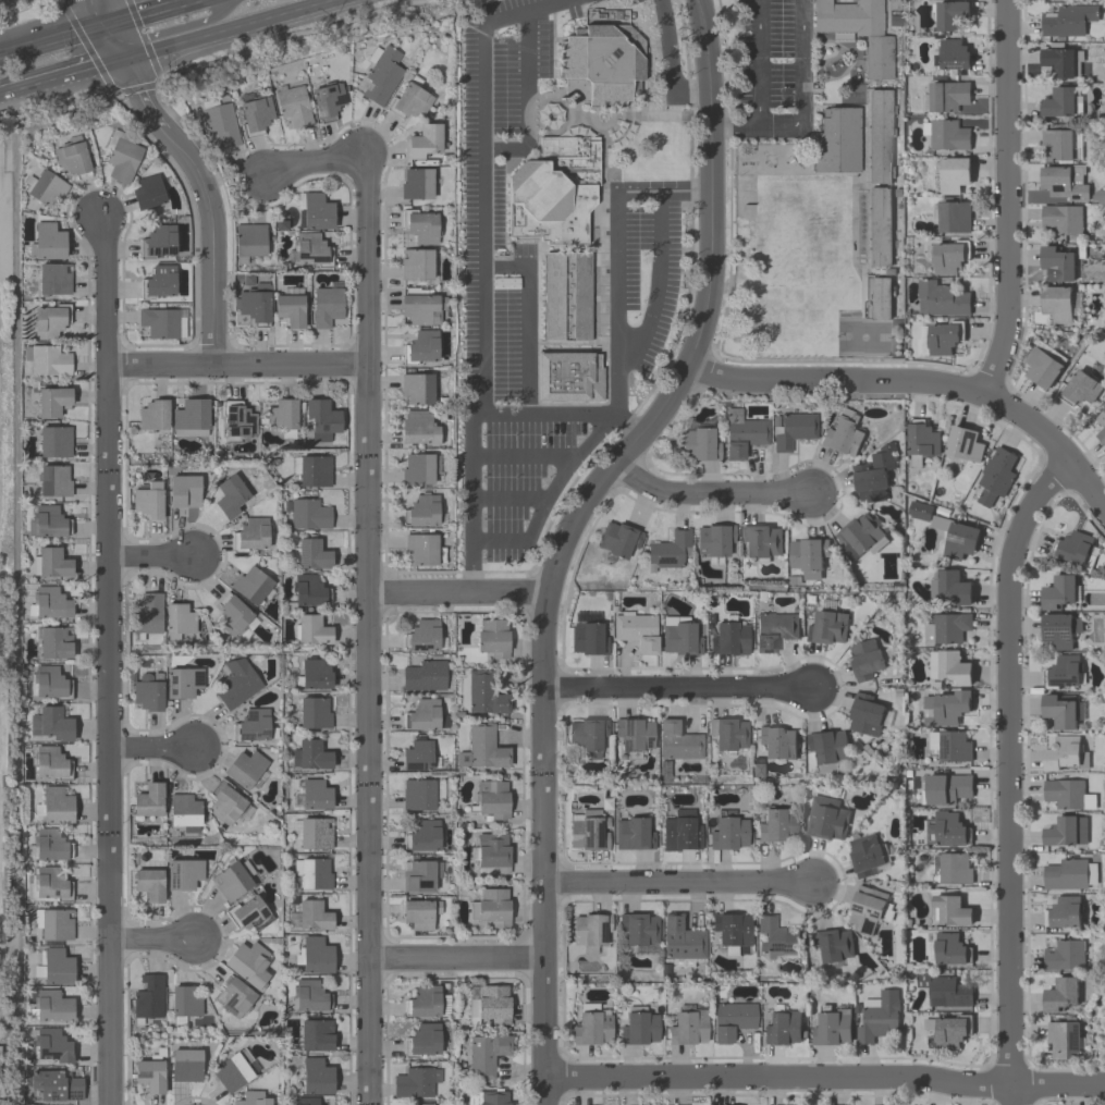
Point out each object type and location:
road: (93, 11)
road: (105, 11)
road: (146, 11)
building: (949, 14)
building: (848, 19)
building: (1068, 19)
traffic signals: (107, 23)
road: (174, 27)
road: (231, 29)
road: (53, 38)
road: (115, 41)
building: (951, 53)
building: (879, 58)
traffic signals: (124, 60)
road: (668, 60)
building: (1061, 61)
building: (382, 76)
road: (62, 77)
building: (947, 95)
building: (329, 100)
building: (412, 101)
road: (527, 101)
building: (1058, 101)
building: (291, 106)
building: (256, 113)
road: (733, 123)
road: (778, 123)
building: (220, 125)
building: (946, 133)
building: (879, 136)
building: (835, 140)
building: (425, 142)
building: (1060, 144)
building: (72, 159)
building: (125, 160)
road: (309, 162)
building: (954, 173)
building: (1065, 181)
building: (417, 185)
building: (47, 189)
road: (693, 189)
building: (148, 193)
road: (996, 195)
road: (202, 200)
building: (576, 202)
building: (315, 211)
building: (954, 217)
building: (1064, 218)
building: (872, 226)
building: (423, 228)
building: (45, 241)
building: (250, 241)
building: (160, 242)
building: (310, 248)
building: (949, 256)
building: (1057, 262)
building: (416, 265)
road: (481, 268)
building: (51, 279)
road: (656, 279)
building: (160, 282)
building: (881, 297)
building: (942, 297)
building: (1057, 303)
building: (254, 306)
building: (327, 306)
building: (420, 309)
building: (291, 311)
road: (528, 316)
building: (48, 322)
building: (162, 322)
building: (940, 336)
building: (423, 347)
building: (46, 360)
road: (233, 364)
building: (1042, 366)
road: (617, 380)
road: (922, 382)
building: (1079, 388)
building: (417, 389)
building: (52, 403)
road: (561, 413)
building: (150, 417)
building: (188, 417)
building: (283, 417)
building: (322, 420)
building: (236, 422)
building: (1102, 422)
building: (418, 429)
building: (793, 431)
building: (741, 433)
building: (843, 433)
building: (922, 440)
building: (54, 443)
building: (963, 443)
building: (698, 444)
road: (521, 459)
building: (416, 470)
building: (314, 471)
building: (874, 472)
building: (995, 476)
building: (53, 481)
building: (182, 491)
road: (708, 493)
building: (229, 496)
road: (511, 499)
building: (147, 501)
building: (919, 509)
building: (420, 512)
building: (309, 515)
building: (46, 521)
road: (567, 532)
building: (253, 533)
building: (862, 536)
building: (956, 537)
building: (618, 539)
building: (713, 540)
building: (762, 540)
building: (420, 549)
building: (1076, 549)
building: (668, 551)
building: (311, 555)
building: (808, 555)
road: (149, 557)
building: (51, 563)
building: (251, 585)
building: (950, 586)
building: (308, 590)
road: (456, 590)
building: (1059, 590)
building: (50, 603)
building: (231, 615)
building: (147, 616)
building: (176, 618)
building: (828, 623)
building: (946, 627)
building: (1060, 628)
building: (773, 629)
road: (366, 630)
building: (314, 631)
building: (636, 631)
building: (587, 635)
building: (423, 636)
building: (680, 637)
building: (493, 638)
building: (728, 638)
building: (52, 641)
building: (868, 658)
road: (108, 659)
building: (949, 666)
building: (1064, 671)
building: (314, 675)
building: (425, 676)
building: (49, 682)
building: (182, 683)
building: (237, 684)
road: (674, 687)
building: (480, 693)
building: (148, 696)
building: (946, 707)
building: (1059, 710)
building: (312, 713)
building: (865, 713)
building: (428, 716)
building: (255, 724)
building: (50, 726)
building: (727, 733)
building: (587, 736)
building: (634, 736)
building: (776, 741)
building: (677, 742)
building: (950, 744)
building: (481, 748)
building: (827, 748)
road: (151, 749)
building: (1065, 752)
building: (310, 756)
building: (416, 756)
road: (1005, 762)
building: (49, 763)
building: (244, 769)
building: (945, 787)
building: (1067, 793)
building: (421, 794)
building: (311, 795)
building: (490, 799)
building: (149, 801)
building: (56, 806)
building: (226, 806)
building: (185, 811)
building: (827, 817)
building: (775, 825)
building: (946, 828)
building: (1066, 830)
building: (588, 831)
building: (679, 832)
building: (727, 833)
building: (315, 834)
building: (633, 834)
building: (422, 835)
building: (49, 845)
building: (490, 852)
building: (867, 852)
building: (951, 868)
building: (1069, 873)
building: (182, 874)
building: (314, 874)
building: (419, 875)
building: (233, 880)
road: (678, 882)
building: (148, 884)
building: (48, 885)
building: (490, 907)
building: (868, 908)
building: (950, 910)
building: (1064, 911)
building: (419, 913)
building: (248, 914)
building: (312, 916)
building: (56, 925)
building: (590, 929)
building: (637, 929)
building: (732, 933)
building: (776, 936)
road: (149, 941)
building: (680, 943)
building: (833, 943)
building: (946, 946)
building: (314, 955)
building: (1065, 955)
road: (453, 957)
building: (247, 963)
building: (56, 967)
building: (945, 991)
building: (1060, 994)
building: (234, 996)
building: (308, 996)
building: (148, 998)
building: (422, 1002)
building: (183, 1004)
building: (489, 1005)
building: (50, 1007)
building: (879, 1016)
building: (730, 1020)
building: (590, 1026)
building: (638, 1027)
building: (831, 1027)
building: (687, 1028)
building: (782, 1028)
building: (949, 1031)
building: (315, 1035)
building: (422, 1039)
building: (1063, 1039)
building: (52, 1046)
building: (484, 1055)
building: (184, 1065)
building: (232, 1071)
building: (148, 1073)
building: (316, 1076)
road: (824, 1080)
building: (415, 1082)
building: (56, 1085)
building: (0, 1089)
road: (1007, 1092)
building: (493, 1097)
building: (251, 1098)
building: (306, 1101)
building: (422, 1104)

